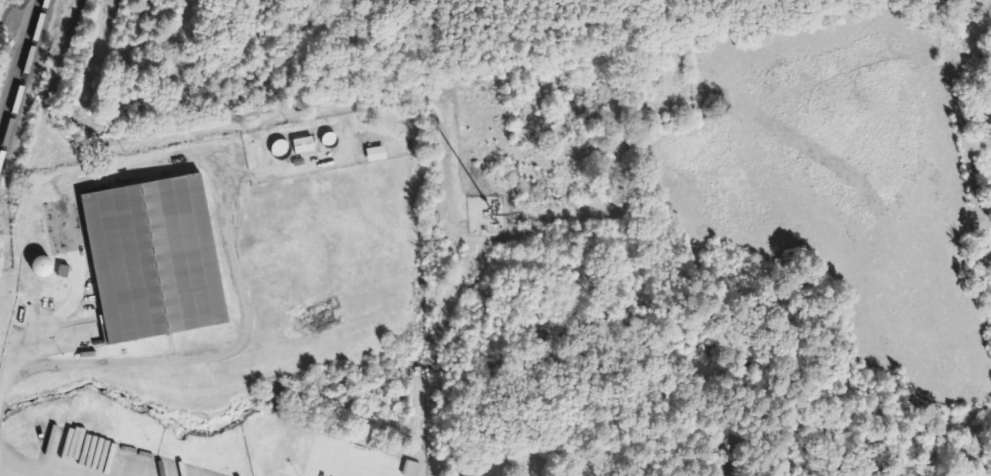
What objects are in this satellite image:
railway: (18, 62)
railway: (23, 82)
road: (150, 133)
building: (308, 144)
road: (74, 237)
building: (155, 257)
building: (49, 266)
road: (362, 464)
building: (414, 468)

